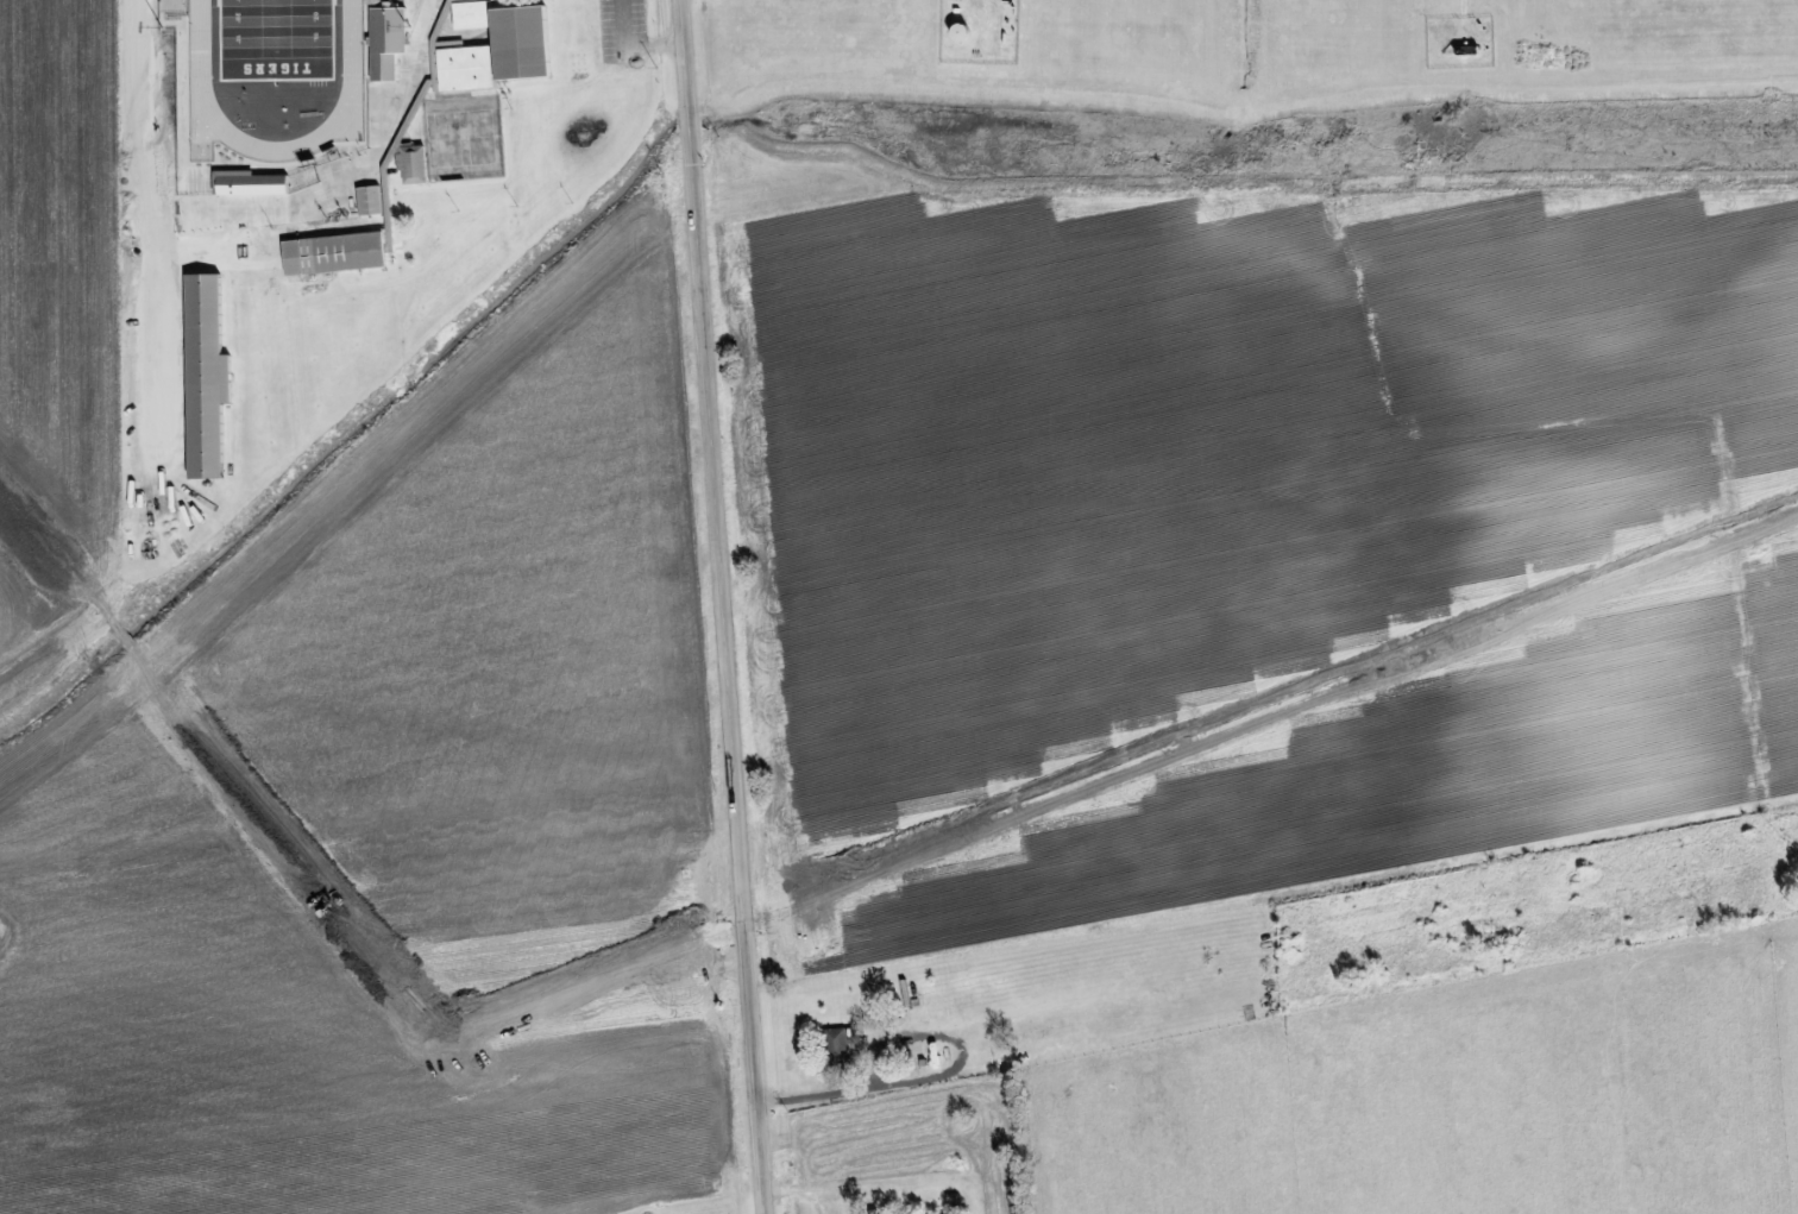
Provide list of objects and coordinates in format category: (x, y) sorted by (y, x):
park: (278, 37)
building: (513, 38)
building: (389, 44)
building: (469, 70)
track: (354, 76)
building: (415, 166)
road: (257, 182)
building: (250, 185)
building: (371, 203)
building: (337, 256)
building: (208, 379)
road: (723, 606)
building: (845, 1045)

